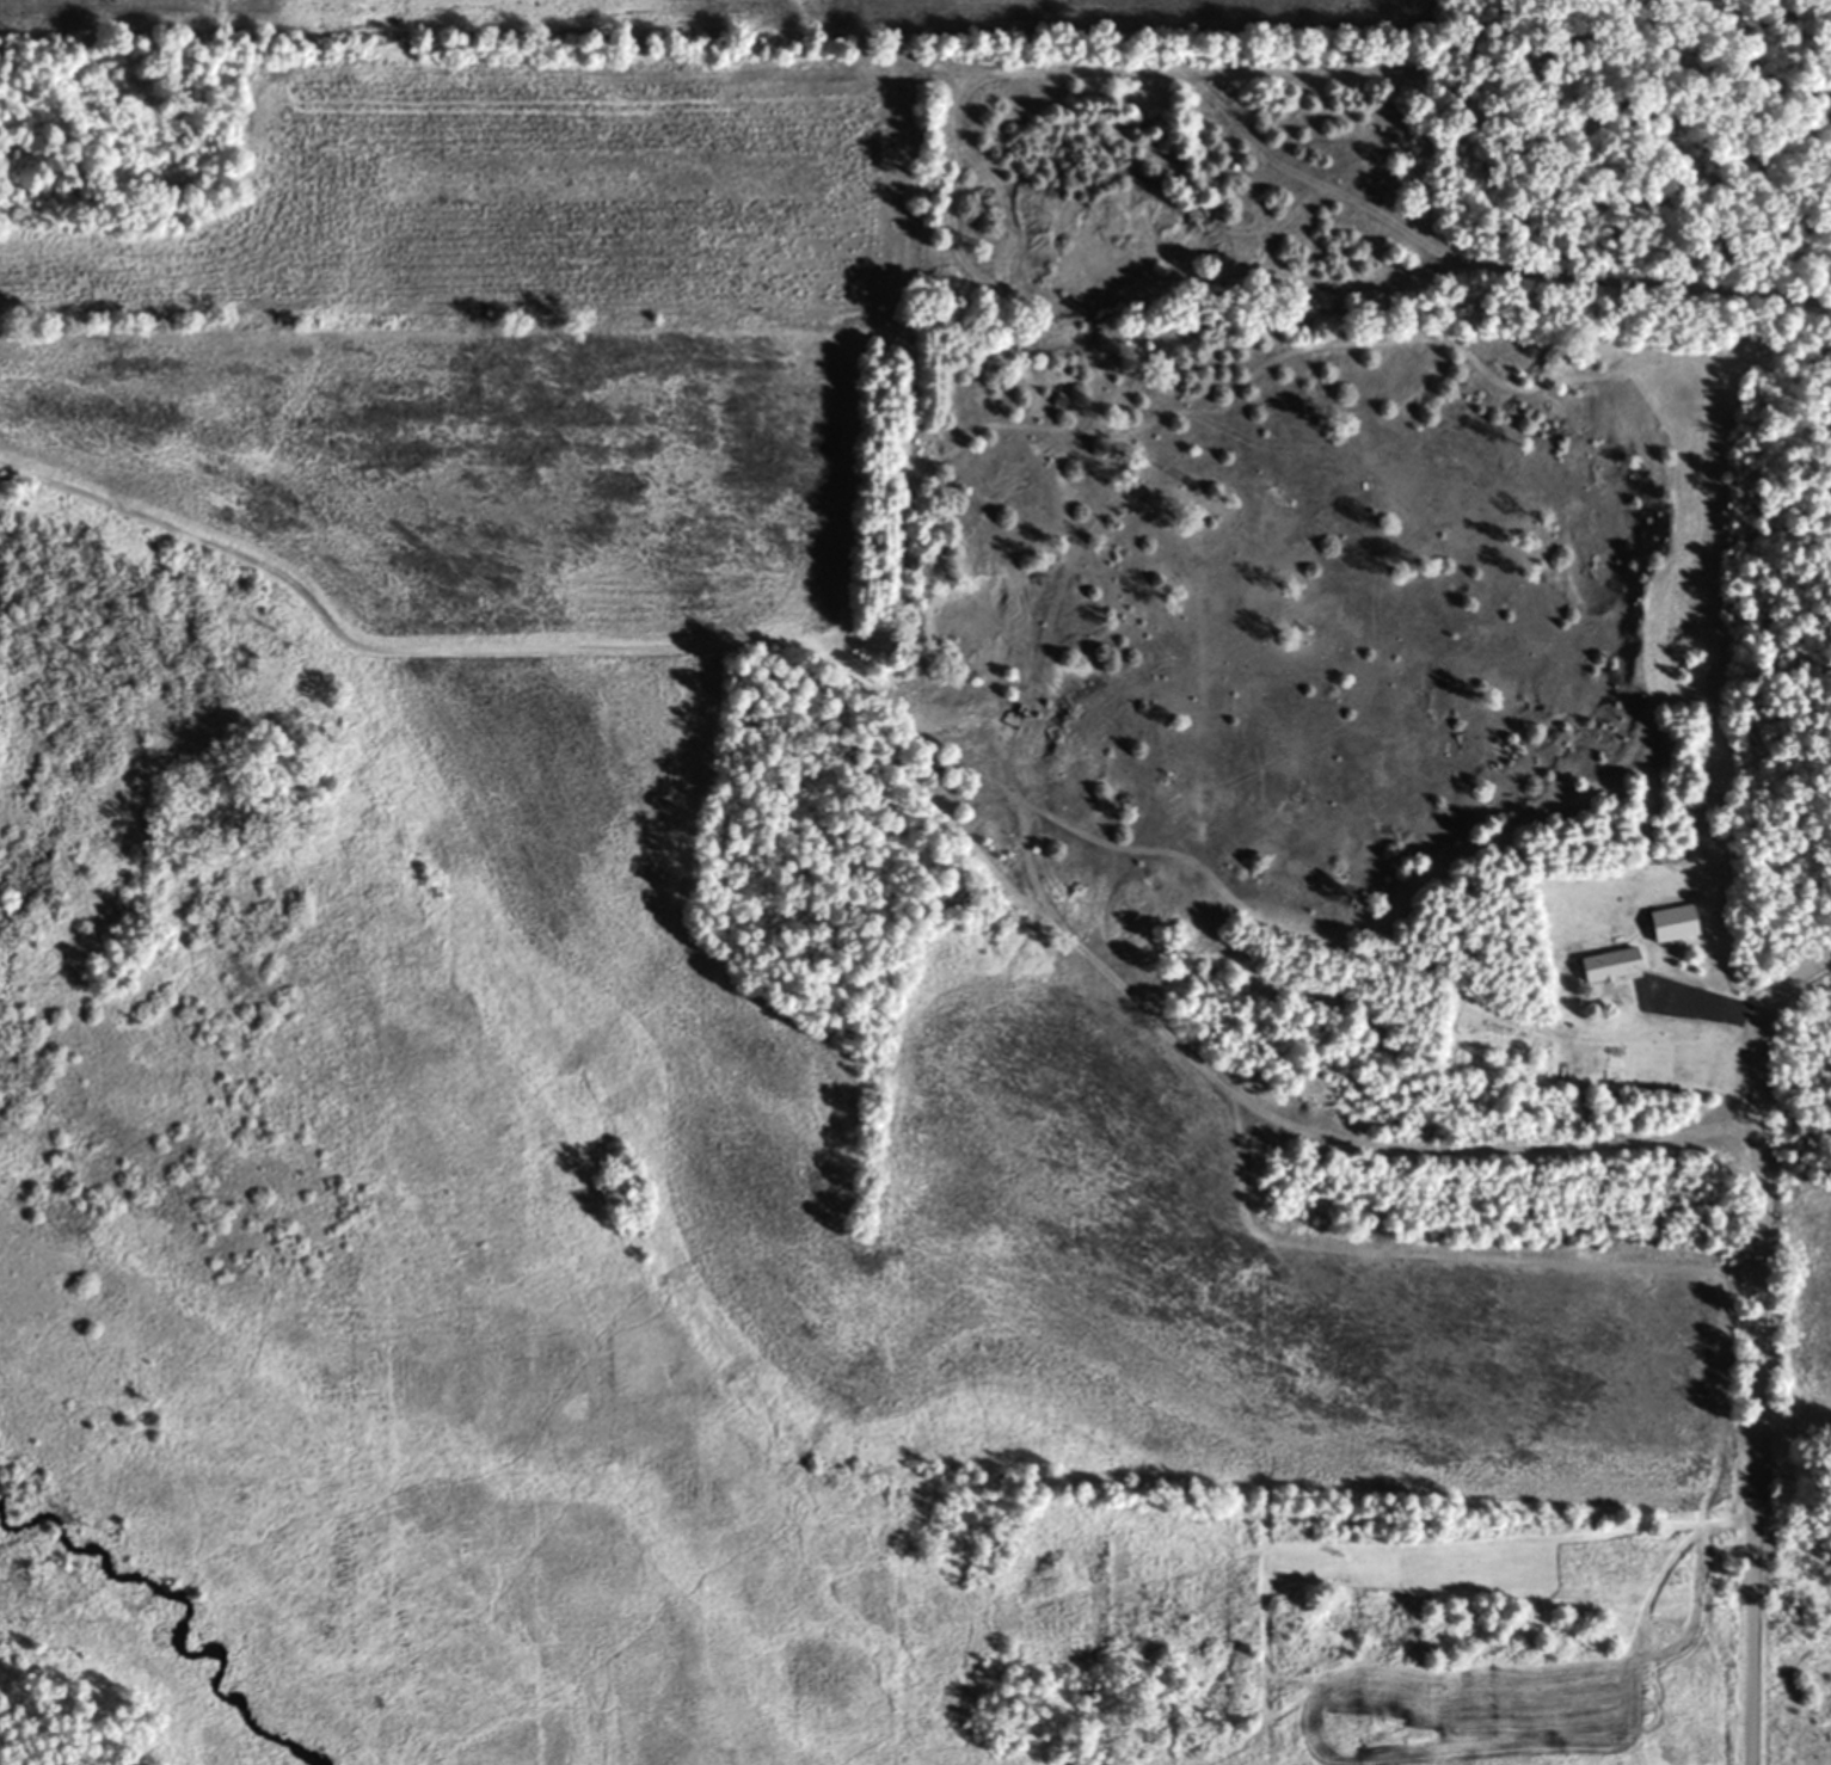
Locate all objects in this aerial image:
building: (1675, 934)
building: (1614, 977)
road: (1751, 1347)

